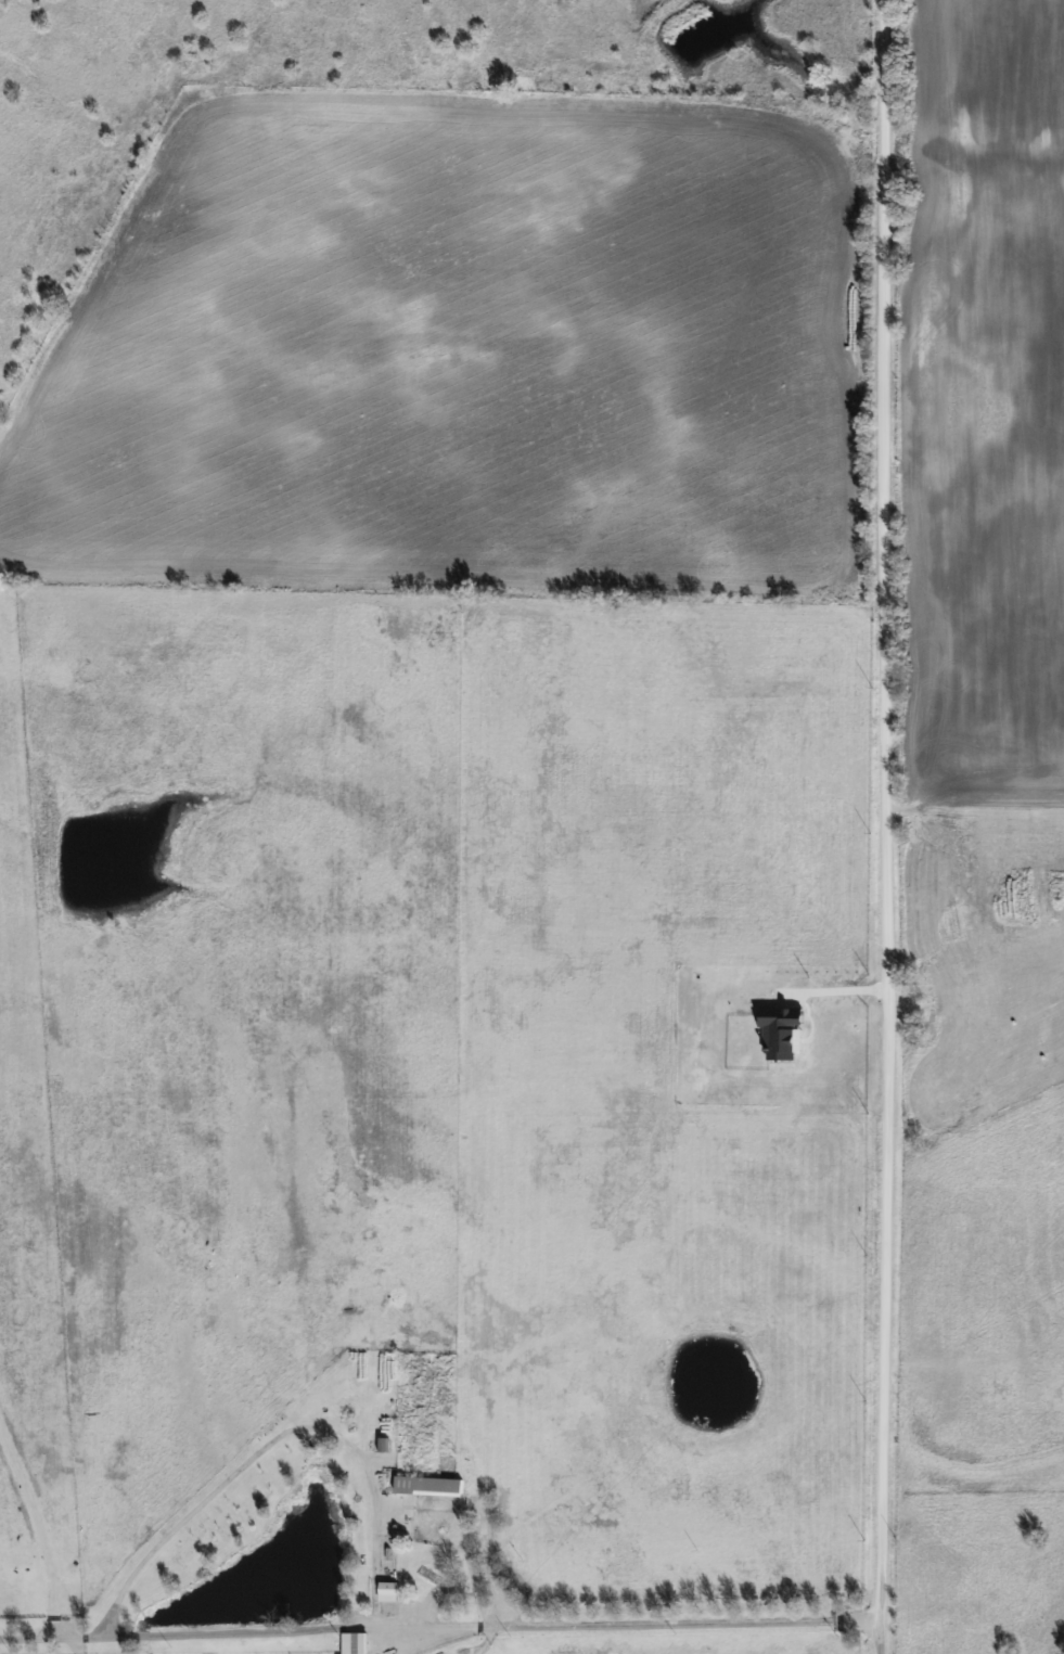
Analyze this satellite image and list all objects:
road: (889, 826)
road: (845, 992)
road: (328, 1425)
building: (430, 1485)
building: (440, 1581)
building: (389, 1590)
road: (439, 1628)
building: (355, 1642)

